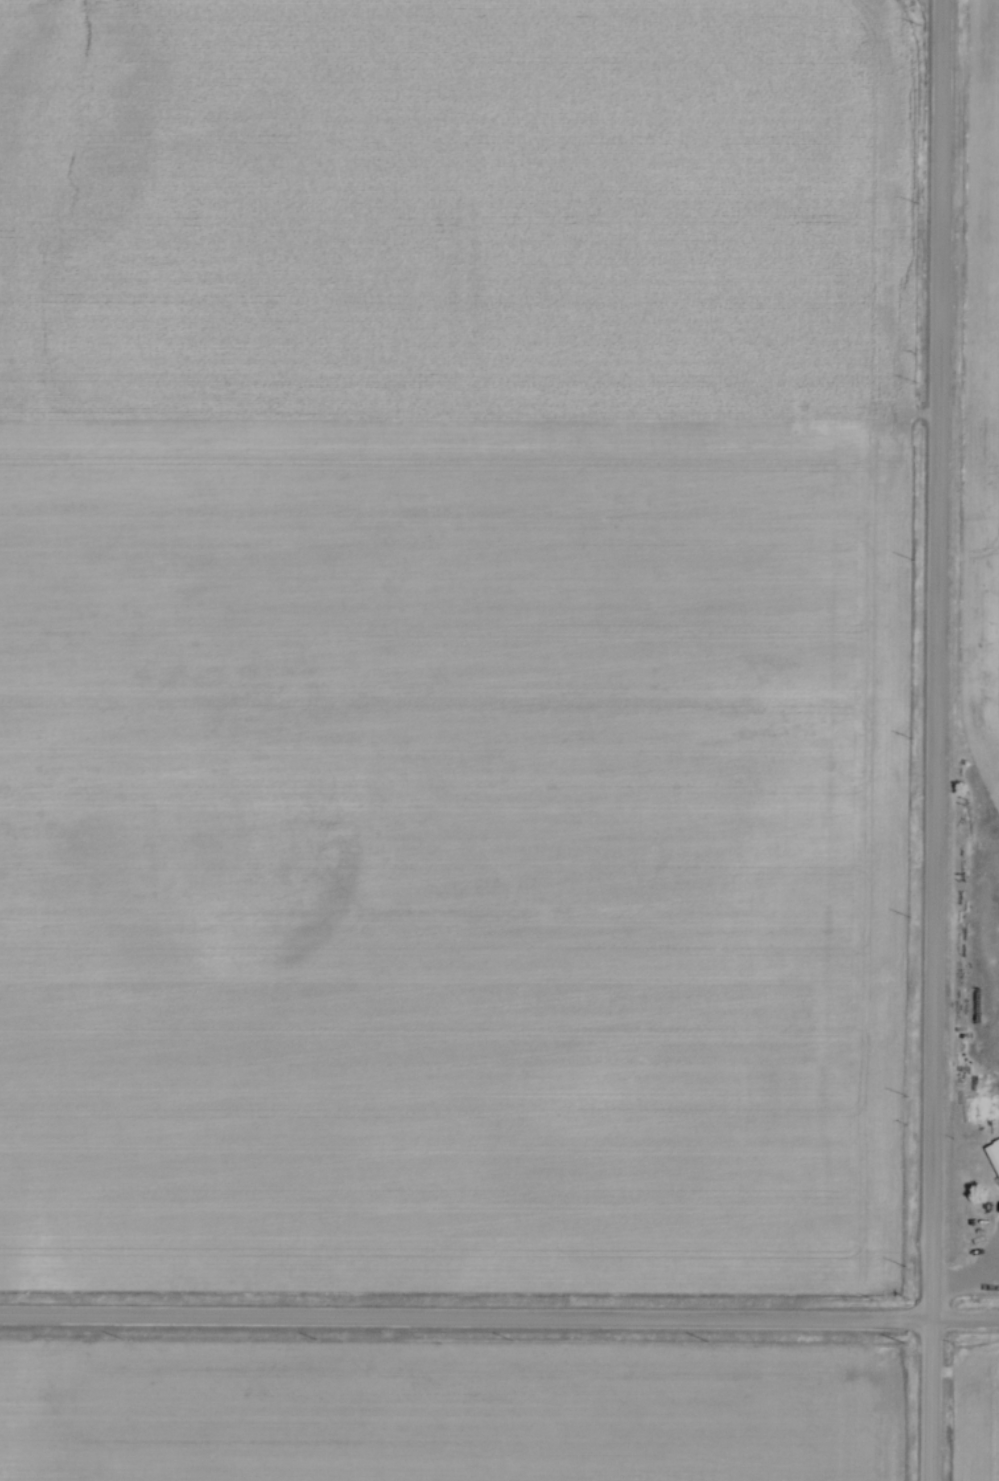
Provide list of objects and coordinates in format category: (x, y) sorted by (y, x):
road: (936, 740)
building: (993, 1157)
road: (968, 1288)
road: (499, 1323)

